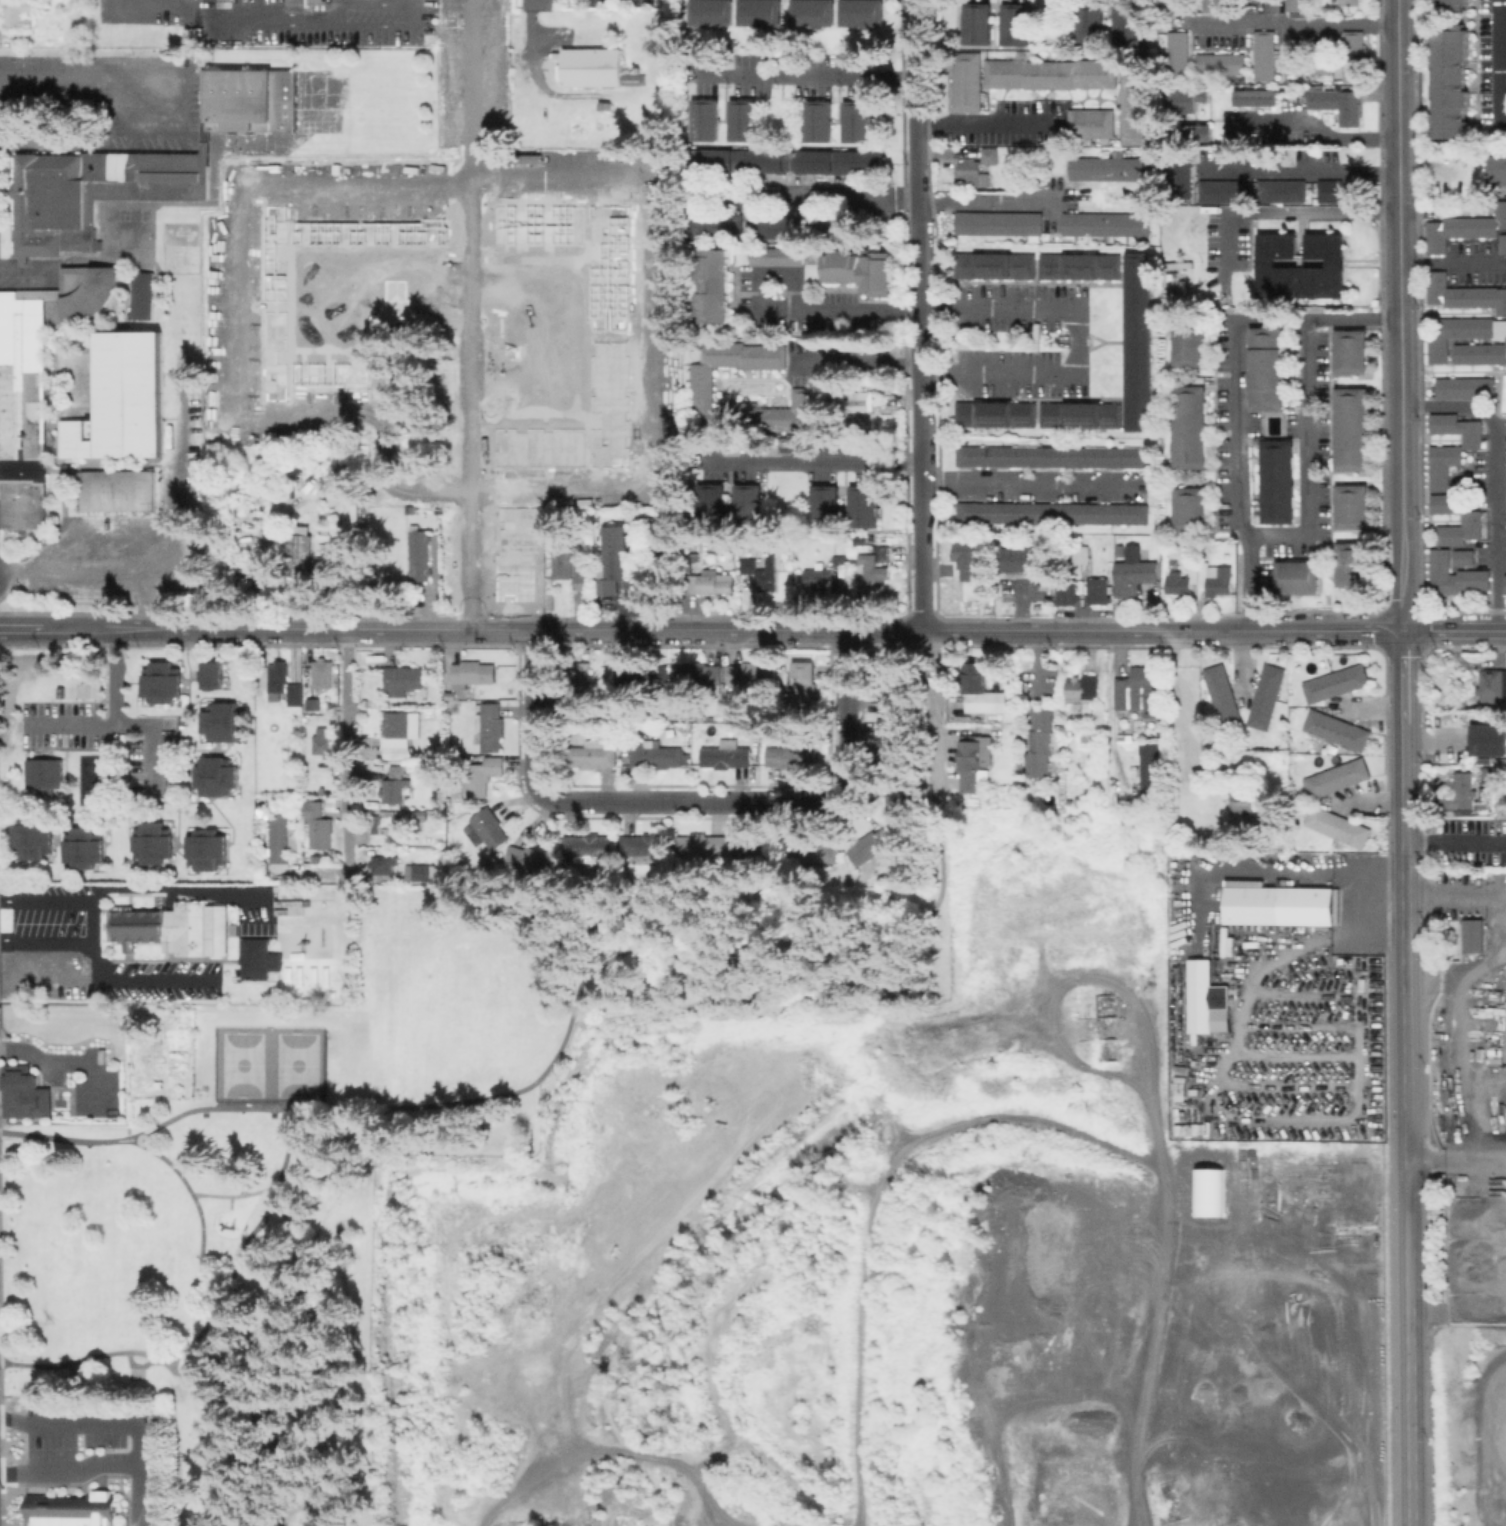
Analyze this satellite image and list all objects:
building: (316, 1)
road: (410, 1)
building: (1349, 2)
building: (1453, 3)
building: (1211, 5)
building: (1294, 5)
building: (712, 11)
building: (762, 12)
building: (814, 12)
building: (17, 13)
building: (862, 13)
building: (979, 22)
building: (1017, 23)
building: (1091, 24)
road: (1293, 24)
road: (221, 25)
road: (332, 25)
building: (1128, 26)
building: (1262, 55)
building: (1175, 56)
building: (1350, 56)
road: (1502, 61)
building: (1218, 63)
building: (1307, 63)
building: (596, 67)
building: (1486, 69)
road: (810, 73)
building: (1051, 73)
building: (968, 81)
building: (1453, 83)
road: (85, 89)
building: (206, 97)
building: (1254, 97)
building: (241, 99)
building: (1186, 99)
building: (283, 103)
building: (1135, 103)
building: (1336, 104)
building: (607, 106)
building: (706, 119)
building: (744, 119)
building: (860, 119)
building: (819, 120)
building: (1092, 122)
road: (1322, 131)
building: (1199, 132)
building: (1500, 136)
road: (1041, 158)
building: (741, 159)
building: (814, 161)
building: (857, 161)
building: (976, 166)
building: (1110, 167)
road: (1296, 168)
building: (1498, 170)
building: (1177, 174)
building: (137, 183)
building: (1220, 190)
building: (1279, 190)
building: (1339, 190)
road: (836, 196)
building: (49, 201)
road: (1288, 212)
rooftop solar panel: (1130, 217)
building: (1000, 222)
building: (1107, 223)
building: (836, 225)
building: (718, 226)
building: (773, 226)
building: (1465, 228)
building: (1504, 243)
building: (778, 257)
building: (1336, 264)
building: (996, 265)
building: (1081, 265)
road: (1453, 265)
building: (865, 271)
building: (1174, 283)
building: (716, 287)
building: (1464, 294)
building: (144, 295)
road: (843, 310)
road: (467, 313)
road: (920, 315)
road: (652, 330)
road: (229, 333)
building: (1139, 339)
road: (1077, 340)
building: (1438, 342)
building: (1191, 346)
building: (1352, 353)
road: (862, 361)
building: (1269, 369)
building: (702, 377)
building: (35, 386)
building: (1466, 387)
road: (1234, 393)
building: (132, 395)
building: (859, 400)
building: (997, 413)
building: (1082, 414)
rooftop solar panel: (1018, 422)
rooftop solar panel: (992, 424)
rooftop solar panel: (1025, 424)
rooftop solar panel: (1051, 424)
rooftop solar panel: (1108, 424)
rooftop solar panel: (1080, 425)
building: (1192, 428)
building: (1459, 428)
building: (1353, 430)
building: (80, 436)
building: (786, 445)
road: (1307, 454)
building: (973, 455)
building: (1012, 456)
building: (1050, 456)
building: (1089, 456)
building: (1127, 456)
road: (816, 463)
building: (1444, 465)
road: (1498, 476)
building: (1279, 482)
road: (1029, 486)
building: (119, 490)
building: (713, 503)
building: (1446, 503)
building: (750, 504)
building: (827, 505)
building: (864, 505)
building: (1353, 507)
building: (1192, 509)
building: (972, 511)
building: (1010, 512)
building: (1049, 512)
building: (1088, 513)
building: (1126, 513)
building: (1461, 529)
building: (862, 538)
building: (662, 546)
building: (420, 554)
building: (301, 557)
building: (1464, 557)
building: (615, 558)
building: (1025, 559)
building: (841, 560)
building: (564, 562)
building: (1353, 564)
building: (582, 565)
building: (323, 566)
building: (872, 569)
building: (763, 572)
building: (1456, 574)
building: (1298, 576)
building: (818, 577)
building: (1134, 577)
building: (1216, 579)
building: (712, 581)
building: (1184, 581)
building: (969, 582)
building: (1504, 584)
building: (1096, 591)
building: (1064, 592)
road: (753, 630)
road: (1035, 661)
building: (473, 673)
building: (697, 673)
building: (208, 674)
building: (323, 674)
building: (752, 674)
building: (643, 675)
building: (279, 676)
road: (119, 677)
building: (403, 679)
building: (159, 682)
building: (1336, 682)
building: (1494, 685)
building: (892, 686)
rooftop solar panel: (1089, 687)
building: (805, 688)
building: (580, 689)
building: (982, 689)
building: (1140, 691)
building: (1084, 693)
building: (296, 694)
building: (450, 694)
building: (1224, 696)
building: (1267, 696)
building: (314, 704)
road: (929, 705)
road: (1375, 708)
road: (1182, 713)
building: (221, 721)
building: (491, 725)
road: (126, 726)
building: (396, 728)
building: (1338, 729)
building: (1084, 735)
building: (1125, 737)
building: (1490, 739)
building: (891, 740)
building: (1041, 742)
building: (324, 744)
road: (350, 754)
building: (593, 754)
building: (658, 754)
building: (727, 754)
building: (792, 755)
road: (1404, 762)
building: (972, 763)
building: (1152, 771)
building: (42, 772)
building: (479, 774)
building: (214, 775)
building: (1337, 777)
building: (396, 784)
building: (1459, 794)
building: (901, 800)
road: (690, 801)
building: (1242, 801)
building: (413, 815)
building: (317, 822)
building: (384, 822)
building: (1338, 825)
building: (489, 827)
building: (30, 837)
road: (1455, 840)
building: (151, 842)
building: (281, 844)
building: (647, 844)
building: (703, 846)
building: (871, 846)
building: (81, 847)
building: (587, 847)
building: (204, 849)
building: (759, 851)
building: (816, 851)
building: (533, 859)
building: (384, 864)
building: (418, 873)
road: (171, 888)
road: (45, 901)
building: (1283, 905)
road: (91, 919)
road: (869, 922)
building: (173, 927)
building: (1470, 934)
road: (45, 937)
building: (259, 958)
road: (135, 978)
building: (1208, 1000)
park: (241, 1063)
park: (296, 1063)
building: (25, 1094)
road: (367, 1107)
park: (362, 1157)
road: (1457, 1166)
road: (235, 1196)
quarry: (1469, 1198)
road: (232, 1203)
road: (198, 1205)
road: (247, 1243)
road: (115, 1353)
building: (74, 1370)
building: (135, 1374)
road: (123, 1425)
road: (263, 1444)
road: (74, 1475)
building: (72, 1509)

